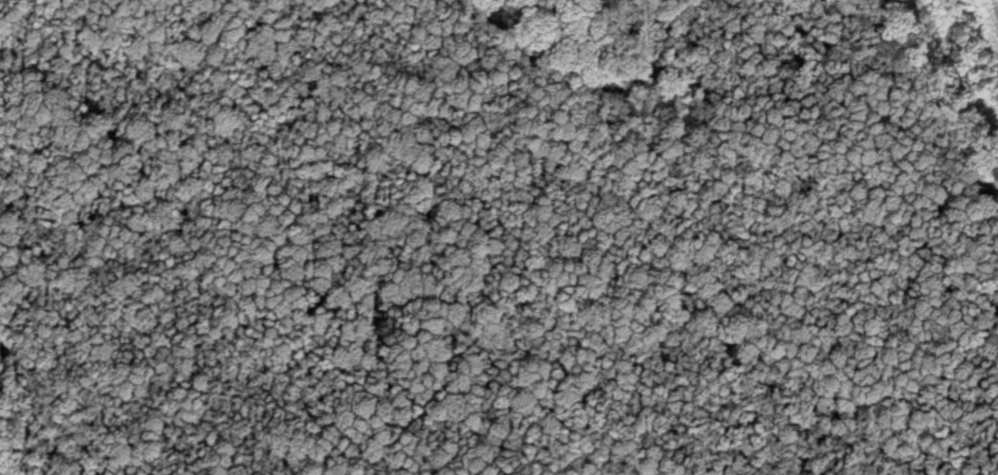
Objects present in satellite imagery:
road: (971, 35)

